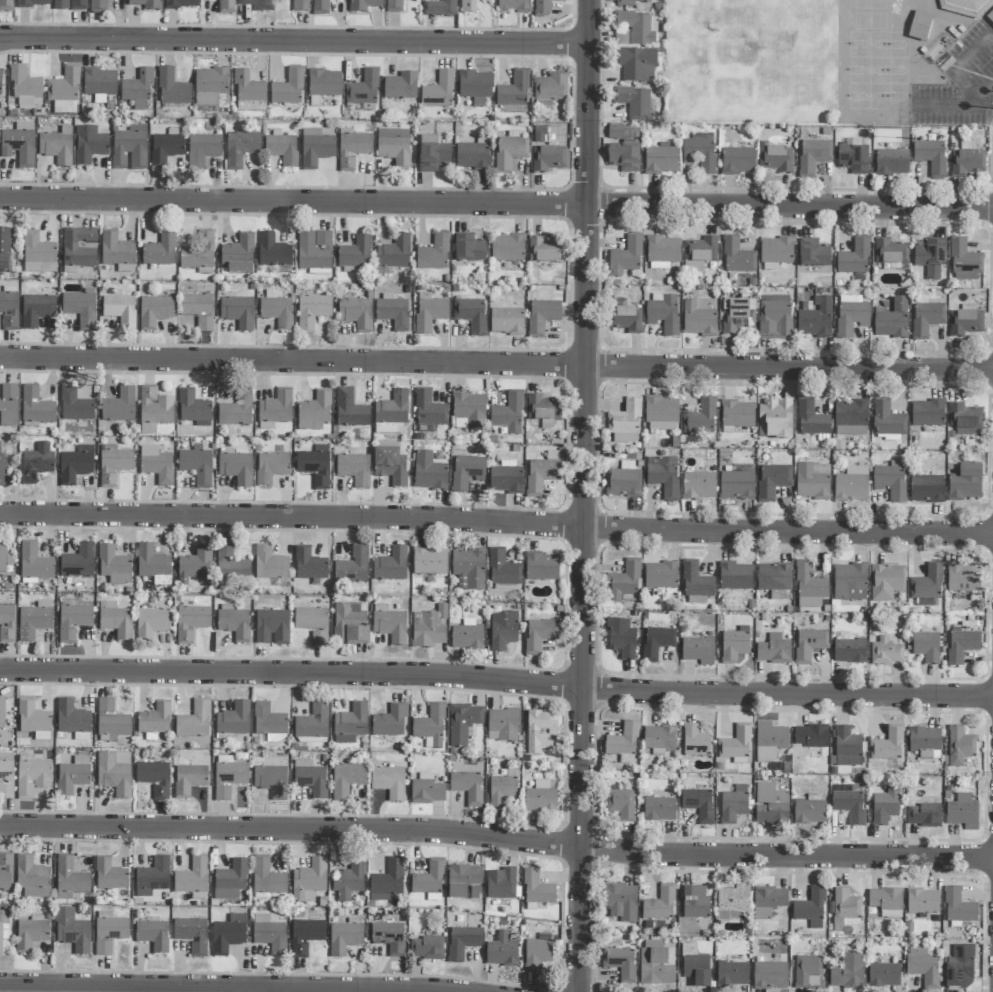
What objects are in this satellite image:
building: (893, 0)
building: (633, 2)
building: (32, 3)
building: (146, 4)
building: (181, 4)
building: (257, 4)
building: (5, 5)
building: (69, 5)
building: (298, 5)
building: (363, 5)
building: (98, 6)
building: (394, 6)
building: (470, 6)
building: (514, 6)
building: (544, 6)
building: (969, 6)
building: (225, 7)
building: (320, 7)
building: (439, 8)
building: (992, 19)
building: (637, 27)
building: (621, 38)
road: (294, 43)
building: (638, 65)
road: (959, 73)
building: (0, 81)
building: (99, 82)
building: (324, 83)
building: (400, 86)
building: (475, 87)
building: (210, 88)
building: (288, 88)
building: (25, 89)
building: (137, 89)
building: (172, 89)
building: (550, 89)
building: (64, 91)
building: (513, 91)
building: (363, 92)
building: (438, 92)
building: (248, 93)
building: (635, 103)
building: (615, 132)
building: (19, 144)
building: (89, 145)
building: (57, 146)
building: (166, 147)
building: (394, 147)
building: (130, 148)
building: (240, 148)
building: (315, 148)
building: (352, 149)
building: (202, 150)
building: (282, 150)
building: (509, 151)
building: (700, 152)
building: (432, 154)
building: (931, 155)
building: (472, 156)
building: (813, 156)
building: (624, 157)
building: (775, 158)
building: (548, 159)
building: (661, 159)
building: (967, 160)
building: (738, 161)
building: (891, 163)
road: (496, 205)
building: (79, 248)
building: (507, 248)
building: (4, 249)
building: (469, 249)
building: (160, 251)
building: (544, 251)
building: (116, 252)
building: (273, 252)
building: (314, 252)
building: (662, 252)
building: (890, 252)
building: (198, 253)
building: (394, 253)
building: (434, 253)
building: (776, 253)
building: (38, 254)
building: (699, 254)
building: (813, 254)
building: (238, 255)
building: (355, 255)
building: (737, 256)
building: (626, 257)
building: (854, 257)
building: (930, 257)
building: (964, 262)
building: (80, 308)
building: (276, 309)
building: (36, 310)
building: (198, 310)
building: (9, 311)
building: (120, 311)
building: (393, 311)
building: (154, 312)
building: (238, 312)
building: (312, 312)
building: (429, 312)
building: (356, 313)
building: (663, 313)
building: (471, 315)
building: (851, 315)
building: (542, 317)
building: (775, 317)
building: (739, 318)
building: (815, 319)
building: (891, 319)
building: (926, 319)
building: (626, 320)
building: (698, 320)
building: (506, 321)
building: (966, 321)
road: (496, 364)
building: (8, 406)
building: (75, 406)
building: (119, 406)
building: (36, 407)
building: (276, 408)
building: (193, 409)
building: (154, 410)
building: (350, 410)
building: (543, 410)
building: (236, 411)
building: (469, 411)
building: (314, 412)
building: (429, 412)
building: (927, 413)
building: (391, 414)
building: (508, 414)
building: (661, 414)
building: (737, 414)
building: (625, 418)
building: (700, 418)
building: (851, 418)
building: (964, 418)
building: (774, 419)
building: (811, 419)
building: (887, 420)
building: (625, 438)
building: (36, 464)
building: (113, 464)
building: (156, 465)
building: (196, 465)
building: (315, 466)
building: (391, 466)
building: (74, 467)
building: (235, 467)
building: (271, 468)
building: (354, 469)
building: (3, 471)
building: (428, 472)
building: (467, 472)
building: (540, 476)
building: (663, 476)
building: (506, 478)
building: (773, 481)
building: (812, 481)
building: (890, 482)
building: (623, 483)
building: (965, 483)
building: (851, 485)
building: (698, 486)
building: (736, 486)
building: (926, 489)
road: (585, 496)
road: (496, 523)
building: (4, 559)
building: (78, 561)
building: (429, 562)
building: (34, 564)
building: (270, 564)
building: (153, 565)
building: (230, 565)
building: (309, 565)
building: (391, 565)
building: (114, 566)
building: (195, 566)
building: (352, 567)
building: (542, 567)
building: (468, 569)
building: (502, 570)
building: (660, 576)
building: (735, 576)
building: (773, 577)
building: (963, 579)
building: (886, 582)
building: (624, 583)
building: (849, 583)
building: (696, 585)
building: (809, 586)
building: (927, 586)
building: (115, 620)
building: (34, 621)
building: (73, 621)
building: (190, 621)
building: (7, 623)
building: (233, 623)
building: (151, 624)
building: (312, 624)
building: (350, 624)
building: (390, 626)
building: (272, 627)
building: (429, 628)
building: (503, 630)
building: (467, 635)
building: (539, 635)
building: (621, 638)
building: (657, 642)
building: (734, 645)
building: (809, 645)
building: (962, 646)
building: (926, 647)
building: (849, 649)
building: (774, 650)
building: (698, 651)
building: (886, 652)
road: (496, 680)
building: (2, 712)
building: (233, 719)
building: (33, 720)
building: (72, 721)
building: (112, 721)
building: (154, 721)
building: (193, 721)
building: (268, 721)
building: (390, 721)
building: (464, 723)
building: (313, 724)
building: (350, 724)
building: (503, 725)
building: (430, 727)
building: (540, 733)
building: (810, 736)
building: (659, 740)
building: (769, 741)
building: (695, 742)
building: (924, 742)
building: (623, 744)
building: (735, 744)
building: (887, 745)
building: (960, 746)
building: (847, 748)
building: (113, 775)
building: (6, 776)
building: (31, 776)
building: (72, 776)
building: (228, 777)
building: (154, 778)
building: (310, 779)
building: (189, 780)
building: (346, 780)
building: (271, 781)
building: (389, 782)
building: (467, 787)
building: (426, 790)
building: (501, 791)
building: (541, 797)
building: (848, 803)
building: (621, 804)
building: (699, 804)
building: (733, 804)
building: (770, 805)
building: (885, 806)
building: (659, 809)
building: (809, 812)
building: (963, 814)
building: (923, 816)
road: (496, 838)
building: (5, 872)
building: (109, 875)
building: (152, 877)
building: (192, 877)
building: (266, 877)
building: (31, 878)
building: (69, 879)
building: (388, 879)
building: (231, 880)
building: (309, 881)
building: (348, 881)
building: (429, 881)
building: (464, 882)
building: (503, 884)
building: (537, 889)
building: (768, 901)
building: (922, 901)
building: (621, 902)
building: (732, 902)
building: (886, 902)
building: (695, 903)
building: (659, 904)
building: (958, 907)
building: (810, 908)
building: (845, 909)
building: (3, 927)
building: (72, 931)
building: (108, 932)
building: (30, 933)
building: (228, 934)
building: (269, 934)
building: (153, 935)
building: (191, 935)
building: (305, 936)
building: (344, 938)
building: (389, 938)
building: (462, 942)
building: (426, 948)
building: (501, 951)
building: (536, 954)
building: (620, 963)
building: (655, 964)
building: (695, 966)
building: (922, 967)
building: (960, 967)
building: (808, 972)
building: (848, 972)
building: (732, 975)
building: (883, 975)
building: (770, 976)
road: (220, 988)

